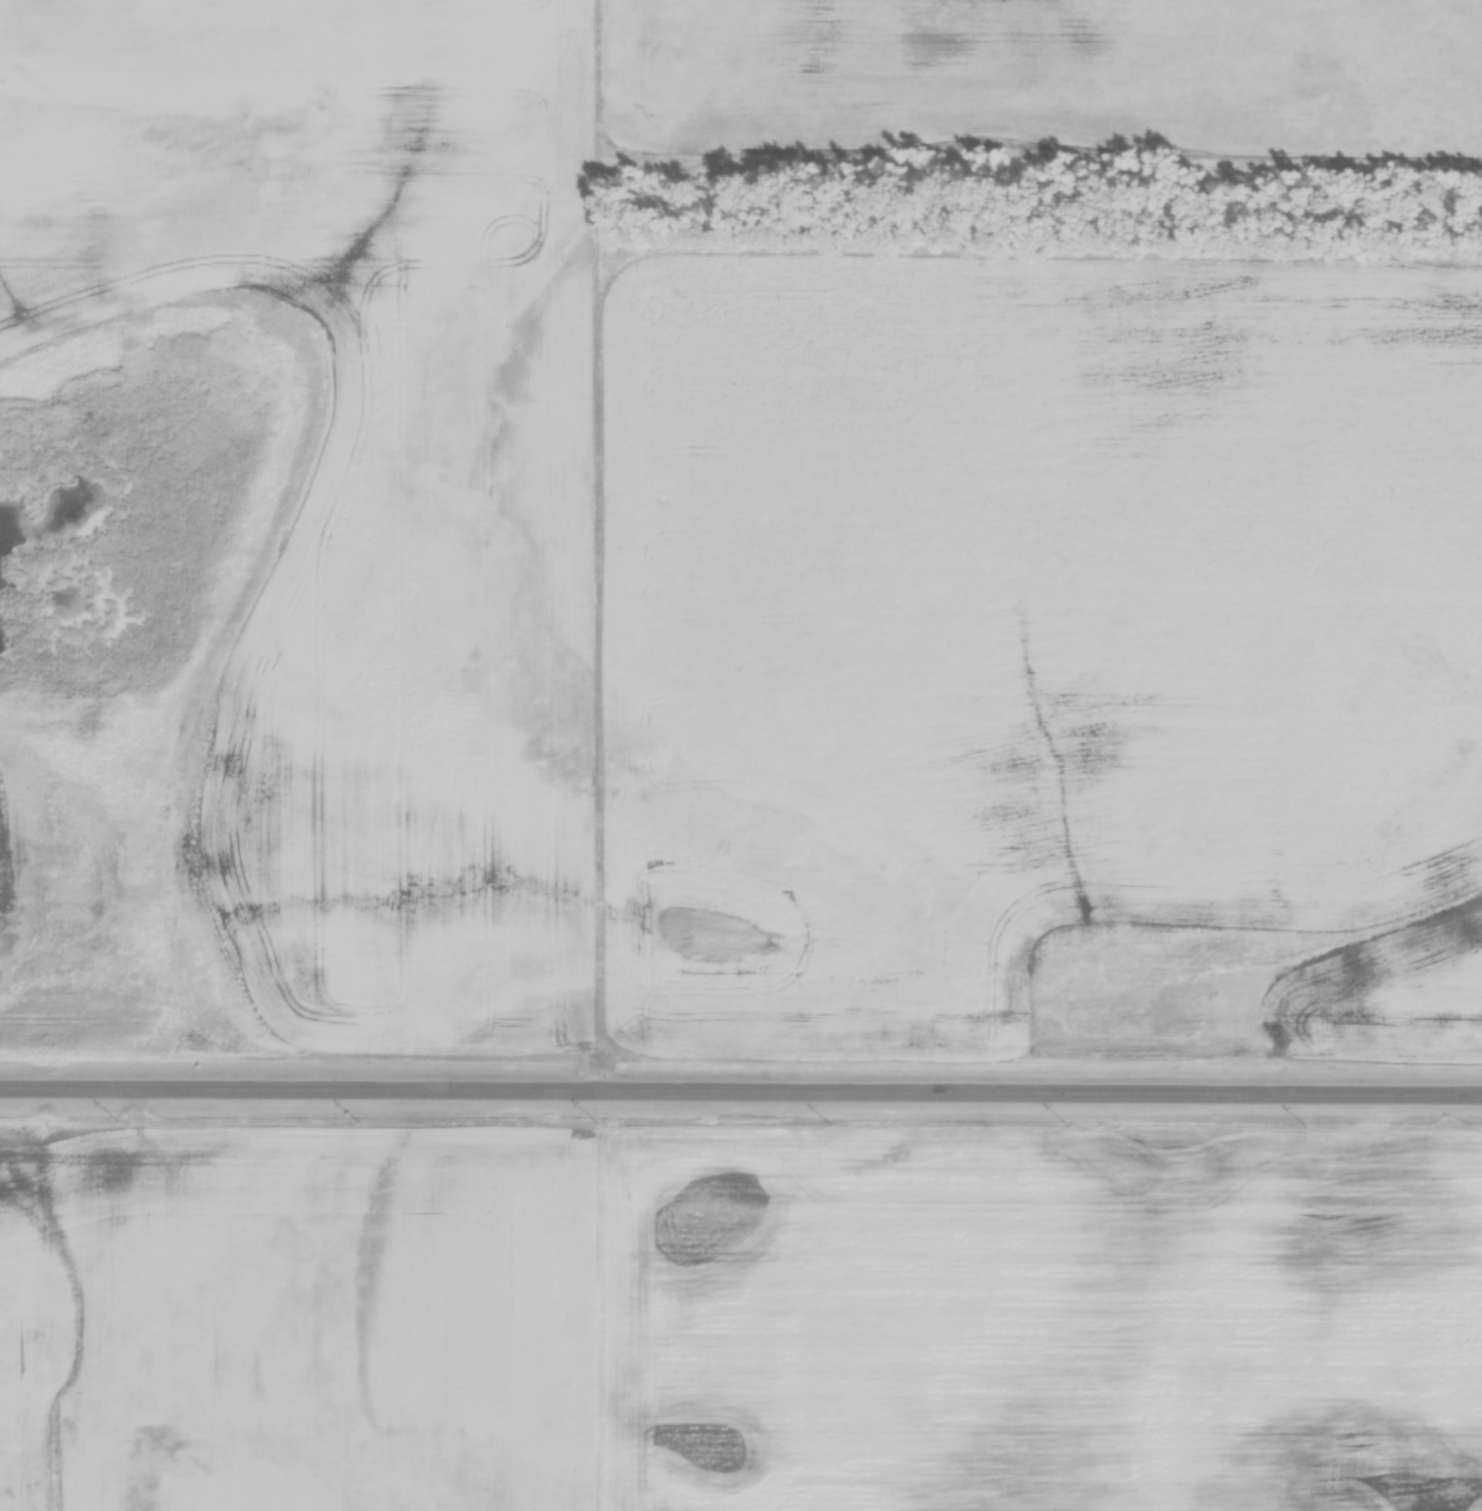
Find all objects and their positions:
road: (741, 1095)

